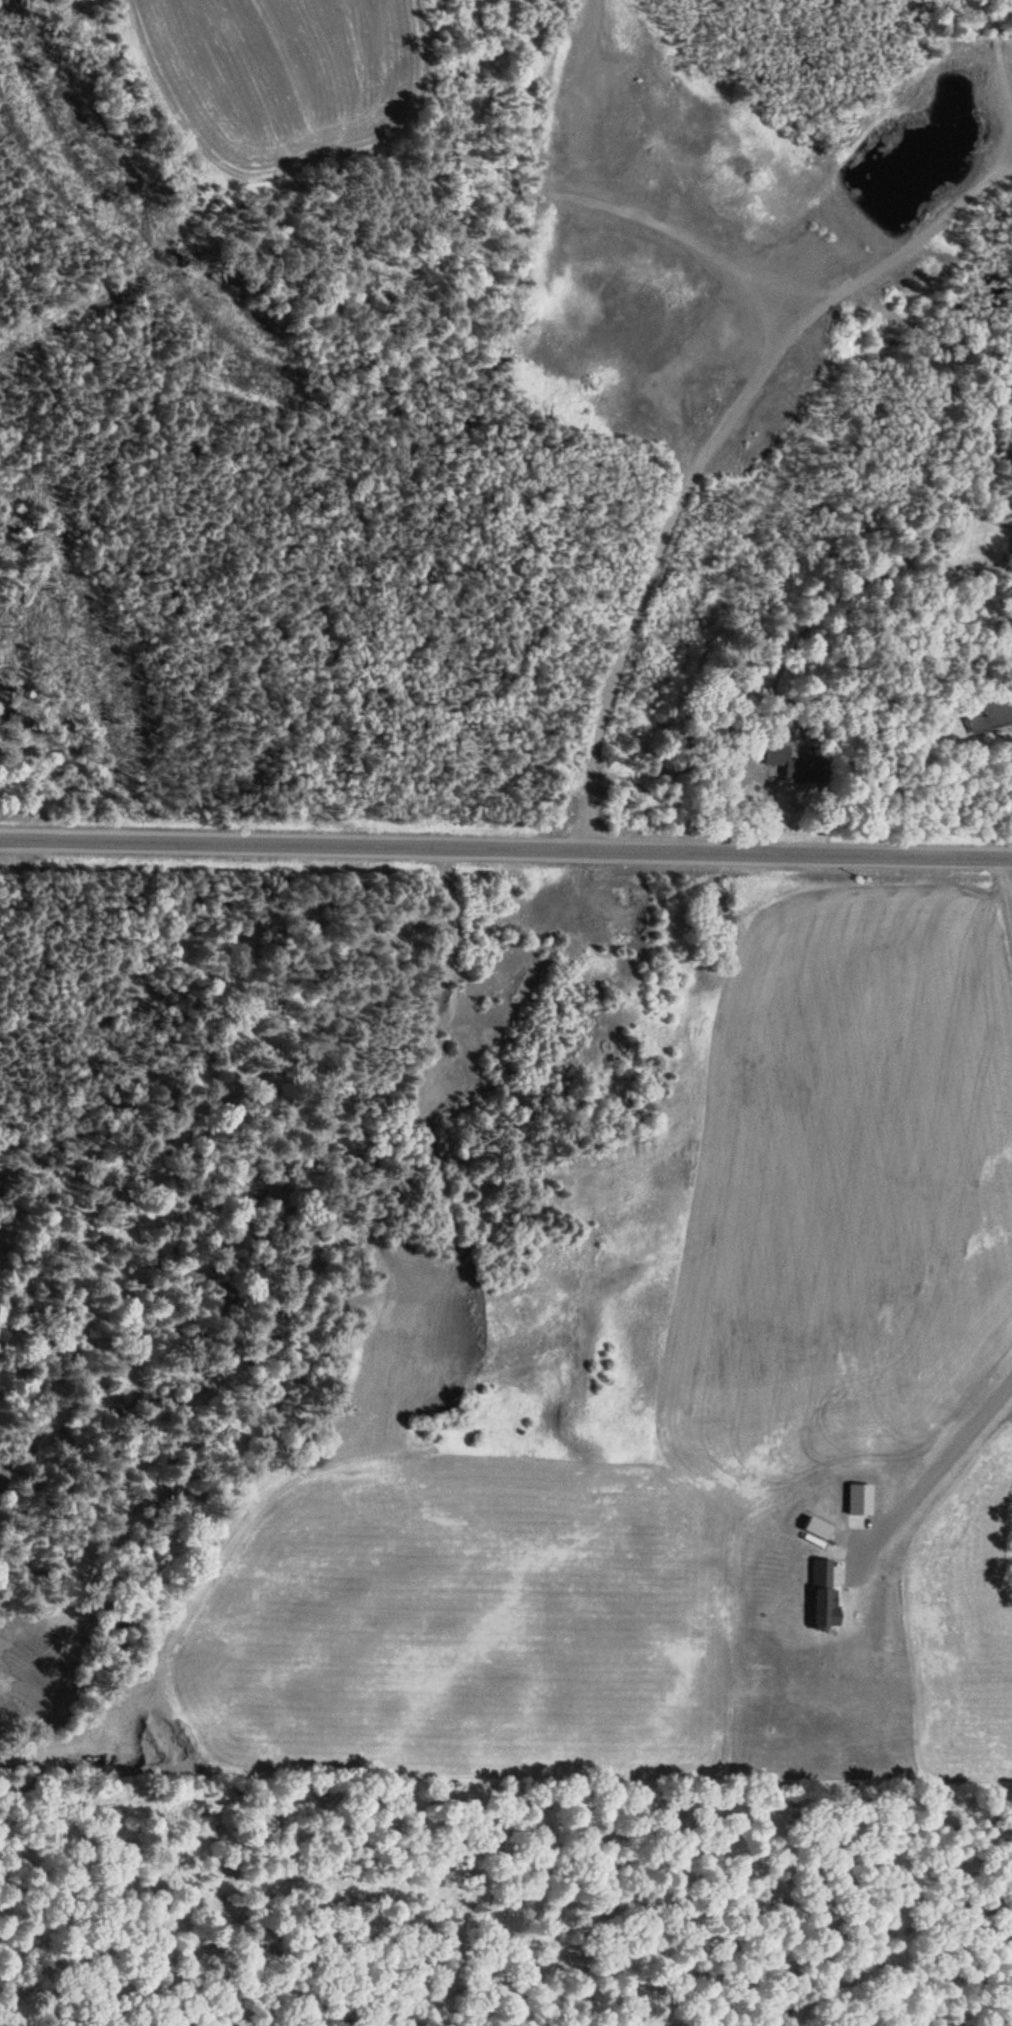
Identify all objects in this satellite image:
road: (700, 449)
building: (990, 717)
building: (787, 767)
road: (506, 849)
road: (1006, 896)
road: (931, 1483)
building: (824, 1597)

